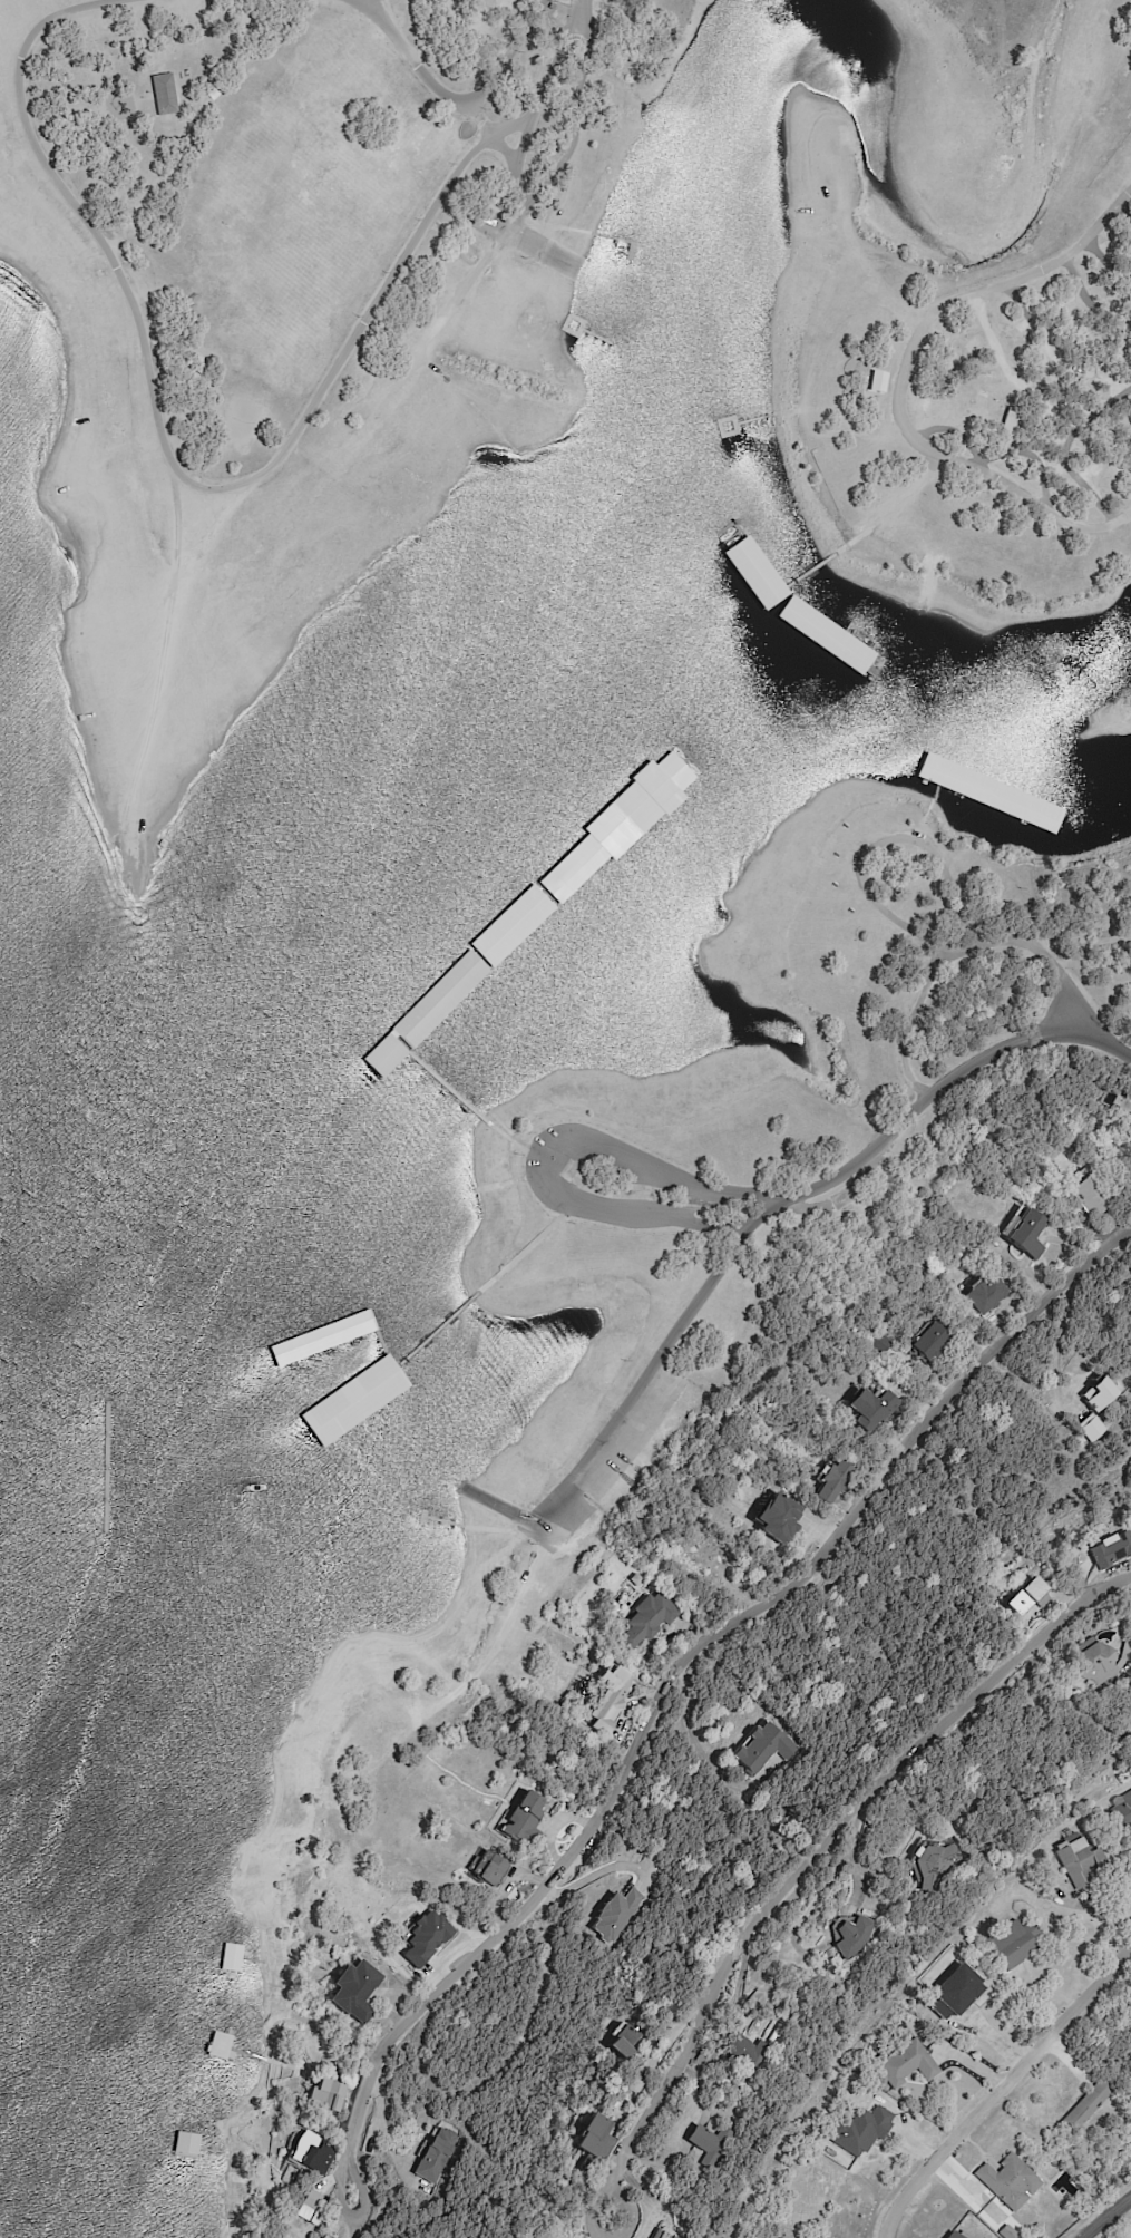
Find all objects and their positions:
building: (482, 3)
building: (550, 8)
building: (163, 96)
road: (451, 99)
road: (904, 377)
building: (877, 380)
building: (1012, 422)
building: (308, 466)
road: (220, 487)
building: (759, 594)
building: (837, 646)
building: (606, 828)
road: (944, 1086)
building: (1117, 1099)
building: (1128, 1101)
road: (545, 1168)
building: (1091, 1195)
building: (1027, 1233)
building: (986, 1293)
building: (929, 1342)
building: (881, 1343)
road: (1056, 1349)
building: (1102, 1393)
building: (354, 1408)
building: (874, 1410)
building: (1094, 1429)
building: (833, 1481)
building: (778, 1518)
building: (1111, 1549)
building: (1028, 1596)
building: (646, 1621)
building: (1102, 1663)
road: (680, 1673)
building: (608, 1700)
building: (760, 1749)
building: (1121, 1779)
building: (1119, 1813)
building: (520, 1820)
road: (816, 1855)
building: (1079, 1862)
building: (937, 1866)
building: (489, 1868)
building: (616, 1916)
building: (855, 1937)
building: (969, 1940)
building: (1014, 1944)
building: (953, 1991)
building: (352, 1993)
building: (780, 2032)
building: (624, 2045)
building: (744, 2053)
building: (708, 2060)
building: (907, 2065)
road: (1003, 2085)
building: (635, 2088)
building: (325, 2099)
building: (1086, 2108)
building: (859, 2129)
building: (593, 2145)
building: (711, 2145)
building: (437, 2157)
building: (315, 2161)
building: (1006, 2182)
building: (310, 2209)
road: (1105, 2218)
building: (665, 2234)
building: (1006, 2234)
building: (952, 2236)
building: (532, 2237)

